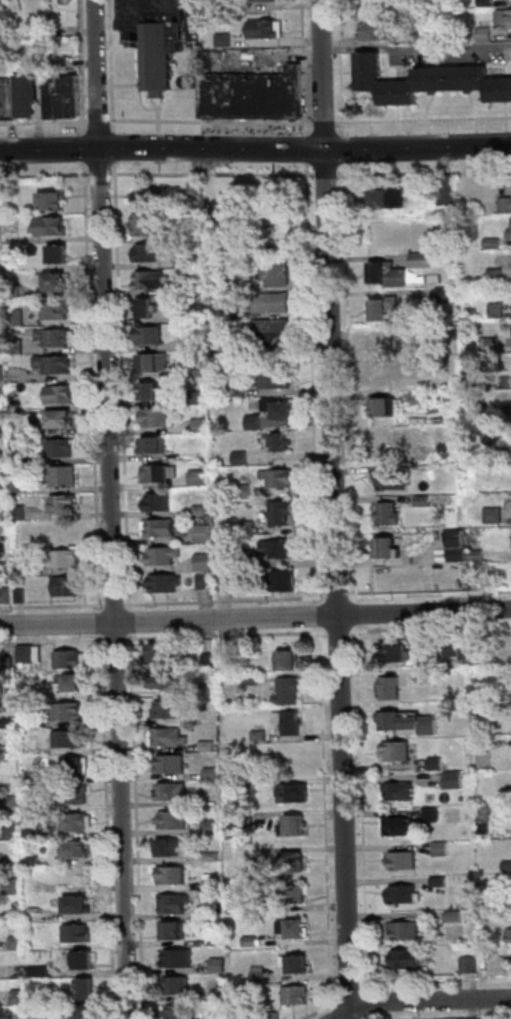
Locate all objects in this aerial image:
building: (3, 1)
building: (265, 1)
building: (488, 3)
building: (226, 6)
building: (375, 8)
building: (505, 18)
road: (191, 21)
parking lot: (194, 22)
building: (267, 30)
building: (379, 33)
building: (486, 35)
building: (416, 37)
building: (155, 38)
building: (226, 41)
road: (418, 44)
road: (114, 66)
road: (85, 68)
road: (307, 68)
road: (343, 69)
building: (370, 72)
road: (101, 73)
building: (435, 80)
building: (471, 80)
building: (500, 92)
building: (400, 94)
building: (75, 96)
building: (255, 96)
building: (30, 97)
building: (10, 100)
building: (54, 102)
building: (64, 106)
road: (423, 120)
road: (102, 121)
road: (46, 122)
road: (214, 122)
road: (326, 124)
road: (116, 147)
road: (87, 149)
road: (310, 149)
road: (51, 150)
road: (307, 150)
road: (346, 150)
road: (424, 173)
road: (102, 174)
road: (45, 175)
road: (215, 175)
road: (328, 175)
building: (196, 188)
building: (448, 192)
building: (151, 198)
building: (390, 200)
building: (55, 203)
building: (506, 206)
building: (463, 213)
building: (145, 226)
building: (52, 228)
building: (198, 233)
building: (510, 234)
building: (1, 238)
building: (494, 244)
building: (151, 254)
building: (61, 256)
building: (196, 261)
building: (423, 261)
building: (1, 264)
building: (279, 272)
building: (389, 275)
building: (497, 276)
building: (487, 279)
building: (152, 281)
building: (56, 284)
building: (222, 285)
building: (15, 290)
building: (197, 290)
building: (448, 295)
building: (276, 303)
building: (147, 309)
building: (385, 309)
building: (58, 311)
building: (499, 311)
building: (226, 313)
building: (475, 313)
building: (2, 319)
building: (18, 319)
building: (278, 332)
building: (151, 335)
building: (58, 337)
building: (452, 337)
building: (198, 344)
building: (491, 345)
building: (18, 347)
building: (385, 347)
building: (156, 362)
building: (56, 365)
building: (198, 371)
building: (459, 371)
building: (3, 373)
building: (395, 374)
building: (276, 380)
road: (315, 383)
road: (353, 383)
road: (96, 387)
road: (125, 387)
building: (240, 390)
building: (154, 391)
building: (63, 395)
building: (200, 397)
building: (420, 399)
building: (3, 404)
building: (386, 408)
building: (281, 410)
building: (504, 415)
building: (159, 417)
building: (63, 421)
building: (256, 422)
building: (203, 425)
building: (2, 433)
building: (387, 440)
building: (495, 440)
building: (283, 442)
building: (156, 446)
building: (64, 449)
building: (0, 457)
building: (243, 458)
building: (22, 459)
building: (161, 473)
building: (65, 477)
building: (199, 478)
building: (283, 478)
building: (391, 480)
building: (5, 487)
building: (22, 488)
building: (246, 492)
building: (425, 502)
building: (160, 503)
building: (66, 505)
road: (338, 509)
building: (204, 510)
building: (20, 513)
building: (285, 514)
building: (390, 514)
building: (495, 516)
building: (161, 528)
building: (249, 528)
building: (68, 530)
building: (205, 534)
building: (458, 547)
building: (282, 549)
building: (388, 551)
building: (165, 557)
building: (478, 557)
building: (252, 559)
building: (68, 560)
building: (206, 562)
building: (24, 568)
building: (394, 577)
building: (207, 581)
building: (226, 581)
building: (286, 581)
road: (116, 583)
building: (167, 584)
building: (70, 588)
road: (430, 594)
building: (22, 597)
building: (6, 598)
road: (341, 598)
road: (229, 601)
road: (117, 605)
road: (54, 607)
road: (359, 614)
road: (322, 615)
road: (132, 617)
road: (255, 618)
road: (104, 623)
road: (431, 628)
road: (341, 631)
road: (228, 635)
road: (118, 640)
road: (54, 641)
building: (454, 650)
building: (29, 653)
building: (398, 654)
building: (160, 656)
building: (73, 660)
building: (212, 662)
building: (10, 663)
building: (290, 664)
building: (426, 674)
building: (253, 681)
building: (74, 683)
building: (166, 685)
building: (393, 689)
building: (288, 694)
building: (484, 708)
building: (175, 711)
building: (70, 712)
building: (10, 723)
building: (31, 724)
building: (288, 725)
building: (410, 725)
building: (261, 736)
building: (71, 739)
building: (170, 739)
building: (484, 744)
building: (209, 747)
building: (399, 752)
building: (438, 764)
building: (173, 765)
building: (77, 766)
building: (213, 774)
building: (36, 777)
building: (456, 781)
building: (250, 785)
building: (401, 792)
building: (173, 793)
building: (76, 795)
building: (295, 795)
building: (507, 798)
building: (13, 803)
road: (365, 807)
building: (434, 815)
road: (328, 816)
building: (247, 820)
building: (74, 821)
building: (175, 821)
road: (110, 827)
building: (212, 828)
building: (296, 829)
building: (403, 830)
building: (14, 832)
building: (34, 833)
building: (443, 849)
building: (75, 850)
building: (171, 850)
building: (214, 857)
building: (34, 859)
building: (15, 861)
building: (404, 861)
building: (293, 866)
building: (508, 867)
building: (173, 878)
building: (214, 882)
building: (441, 882)
building: (15, 885)
building: (405, 897)
building: (297, 898)
building: (489, 900)
building: (82, 905)
building: (174, 906)
building: (219, 911)
building: (455, 916)
building: (18, 918)
building: (404, 931)
building: (294, 932)
building: (79, 934)
building: (174, 934)
building: (510, 935)
building: (219, 942)
building: (252, 942)
building: (19, 943)
building: (179, 960)
building: (85, 961)
building: (409, 961)
building: (472, 965)
building: (220, 967)
building: (300, 968)
building: (41, 972)
building: (259, 978)
road: (436, 981)
road: (351, 984)
road: (337, 985)
building: (177, 988)
building: (86, 990)
building: (40, 996)
building: (221, 996)
building: (21, 997)
building: (298, 997)
road: (431, 999)
road: (371, 1001)
building: (86, 1013)
building: (181, 1013)
road: (334, 1013)
road: (371, 1015)
building: (277, 1016)
road: (346, 1017)
road: (367, 1018)

